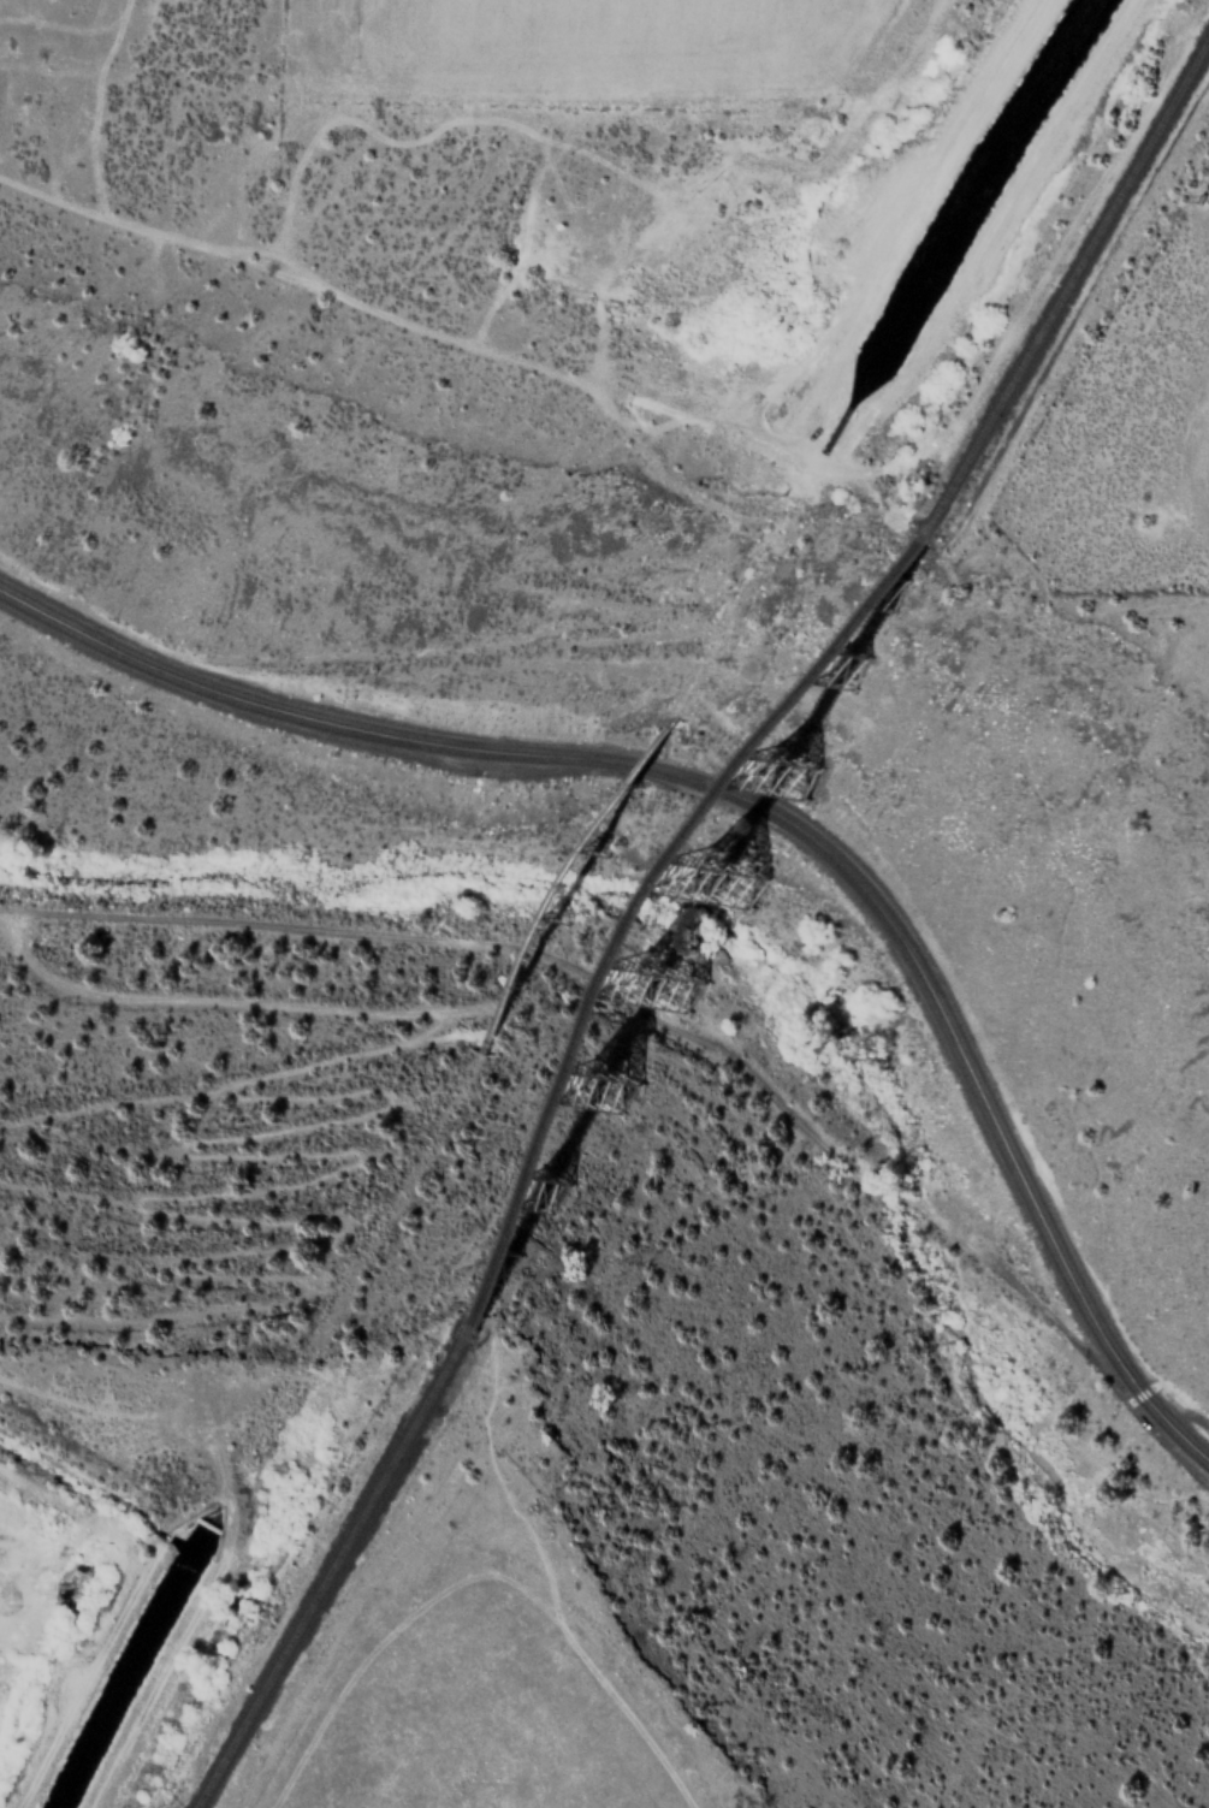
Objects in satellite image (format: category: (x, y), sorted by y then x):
railway: (1072, 278)
road: (763, 806)
railway: (699, 925)
road: (636, 1000)
road: (268, 1157)
road: (1173, 1403)
road: (227, 1529)
railway: (327, 1570)

